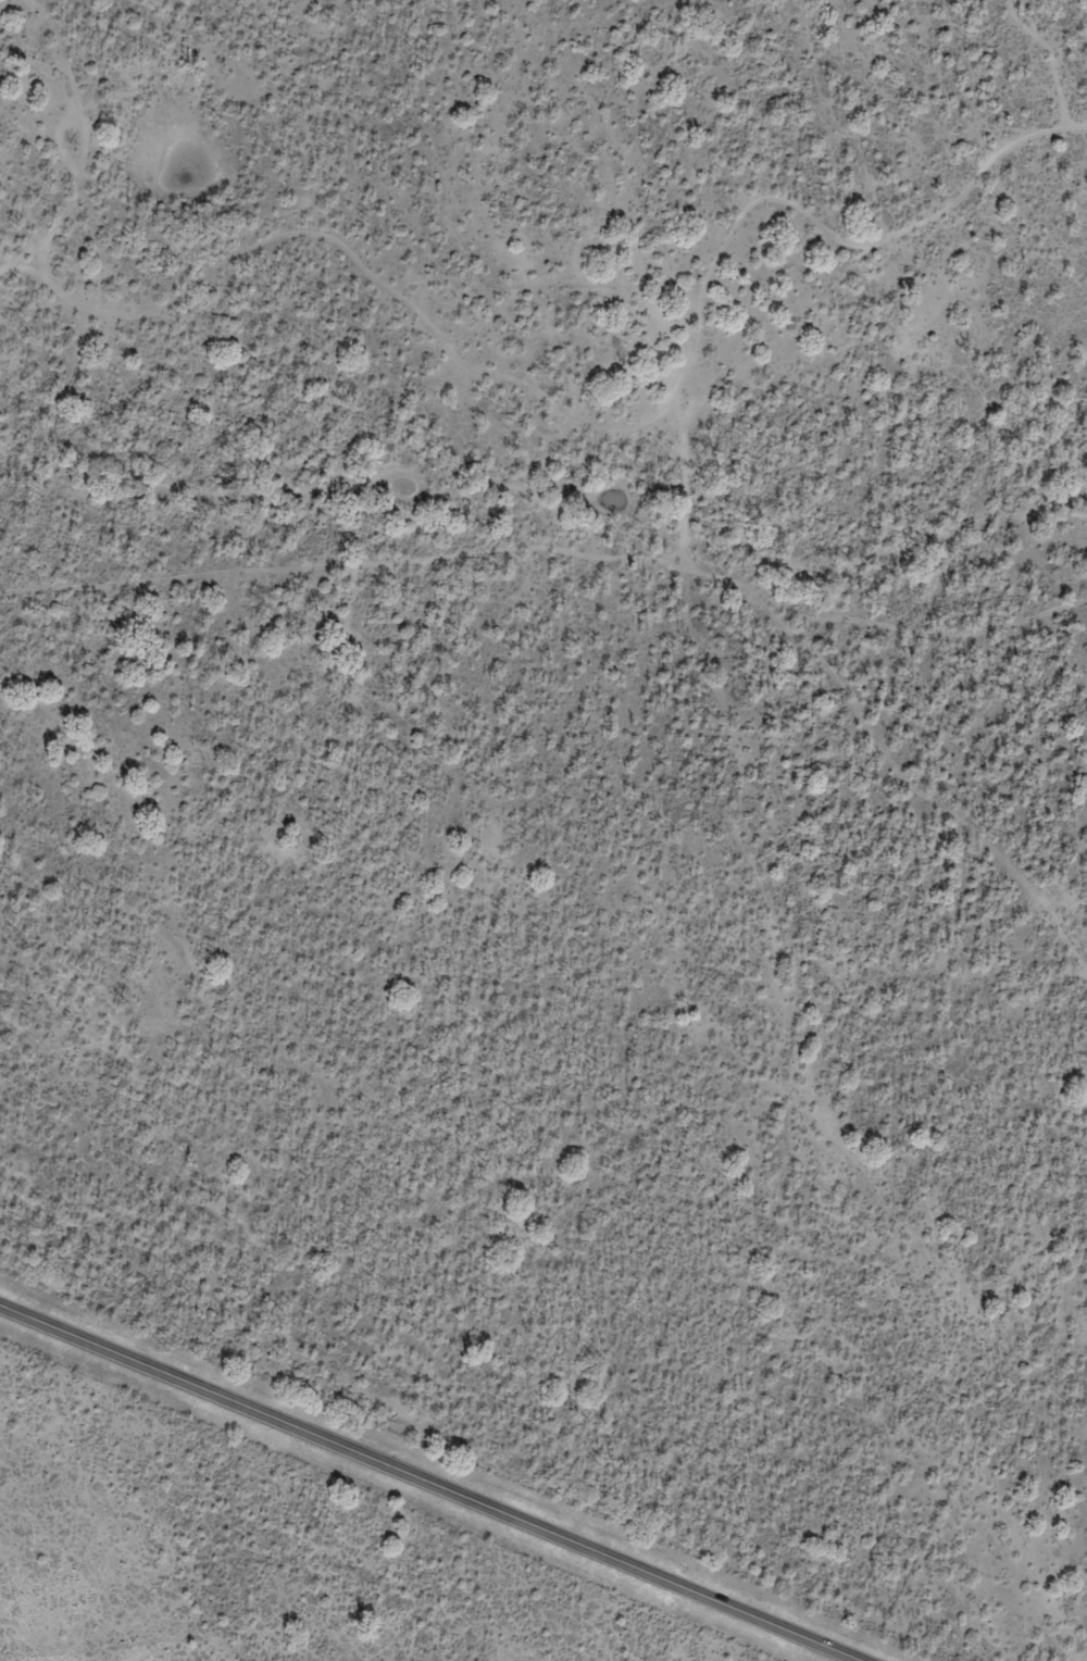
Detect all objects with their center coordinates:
road: (657, 429)
road: (429, 1485)

